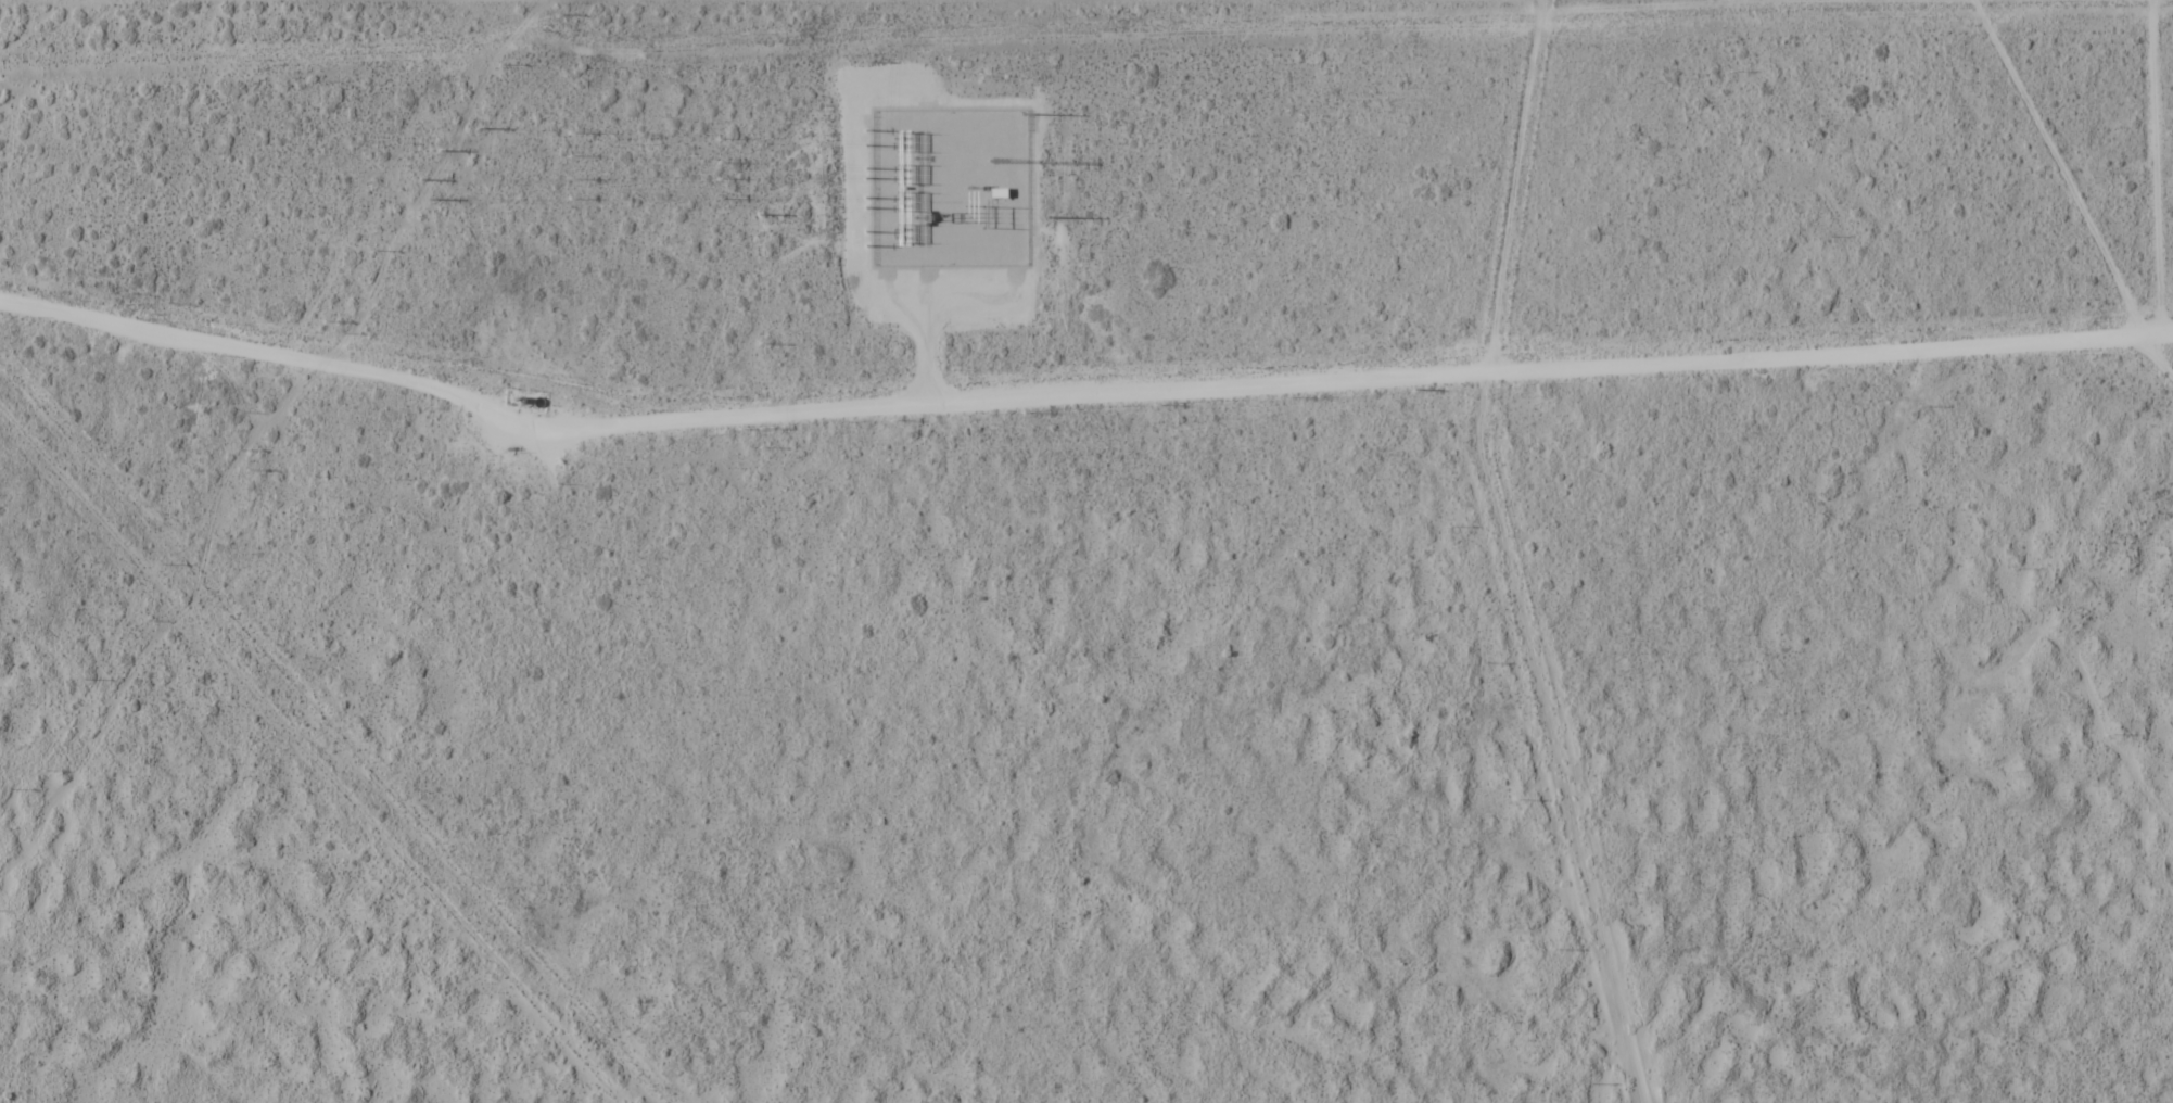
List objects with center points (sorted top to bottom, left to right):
road: (2158, 166)
power substation: (949, 187)
road: (1076, 404)

